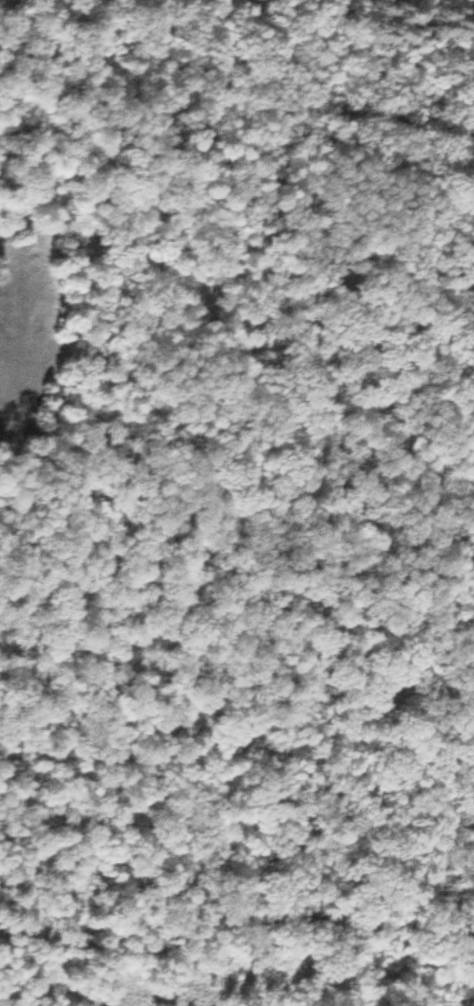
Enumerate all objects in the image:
road: (327, 108)
road: (233, 989)

